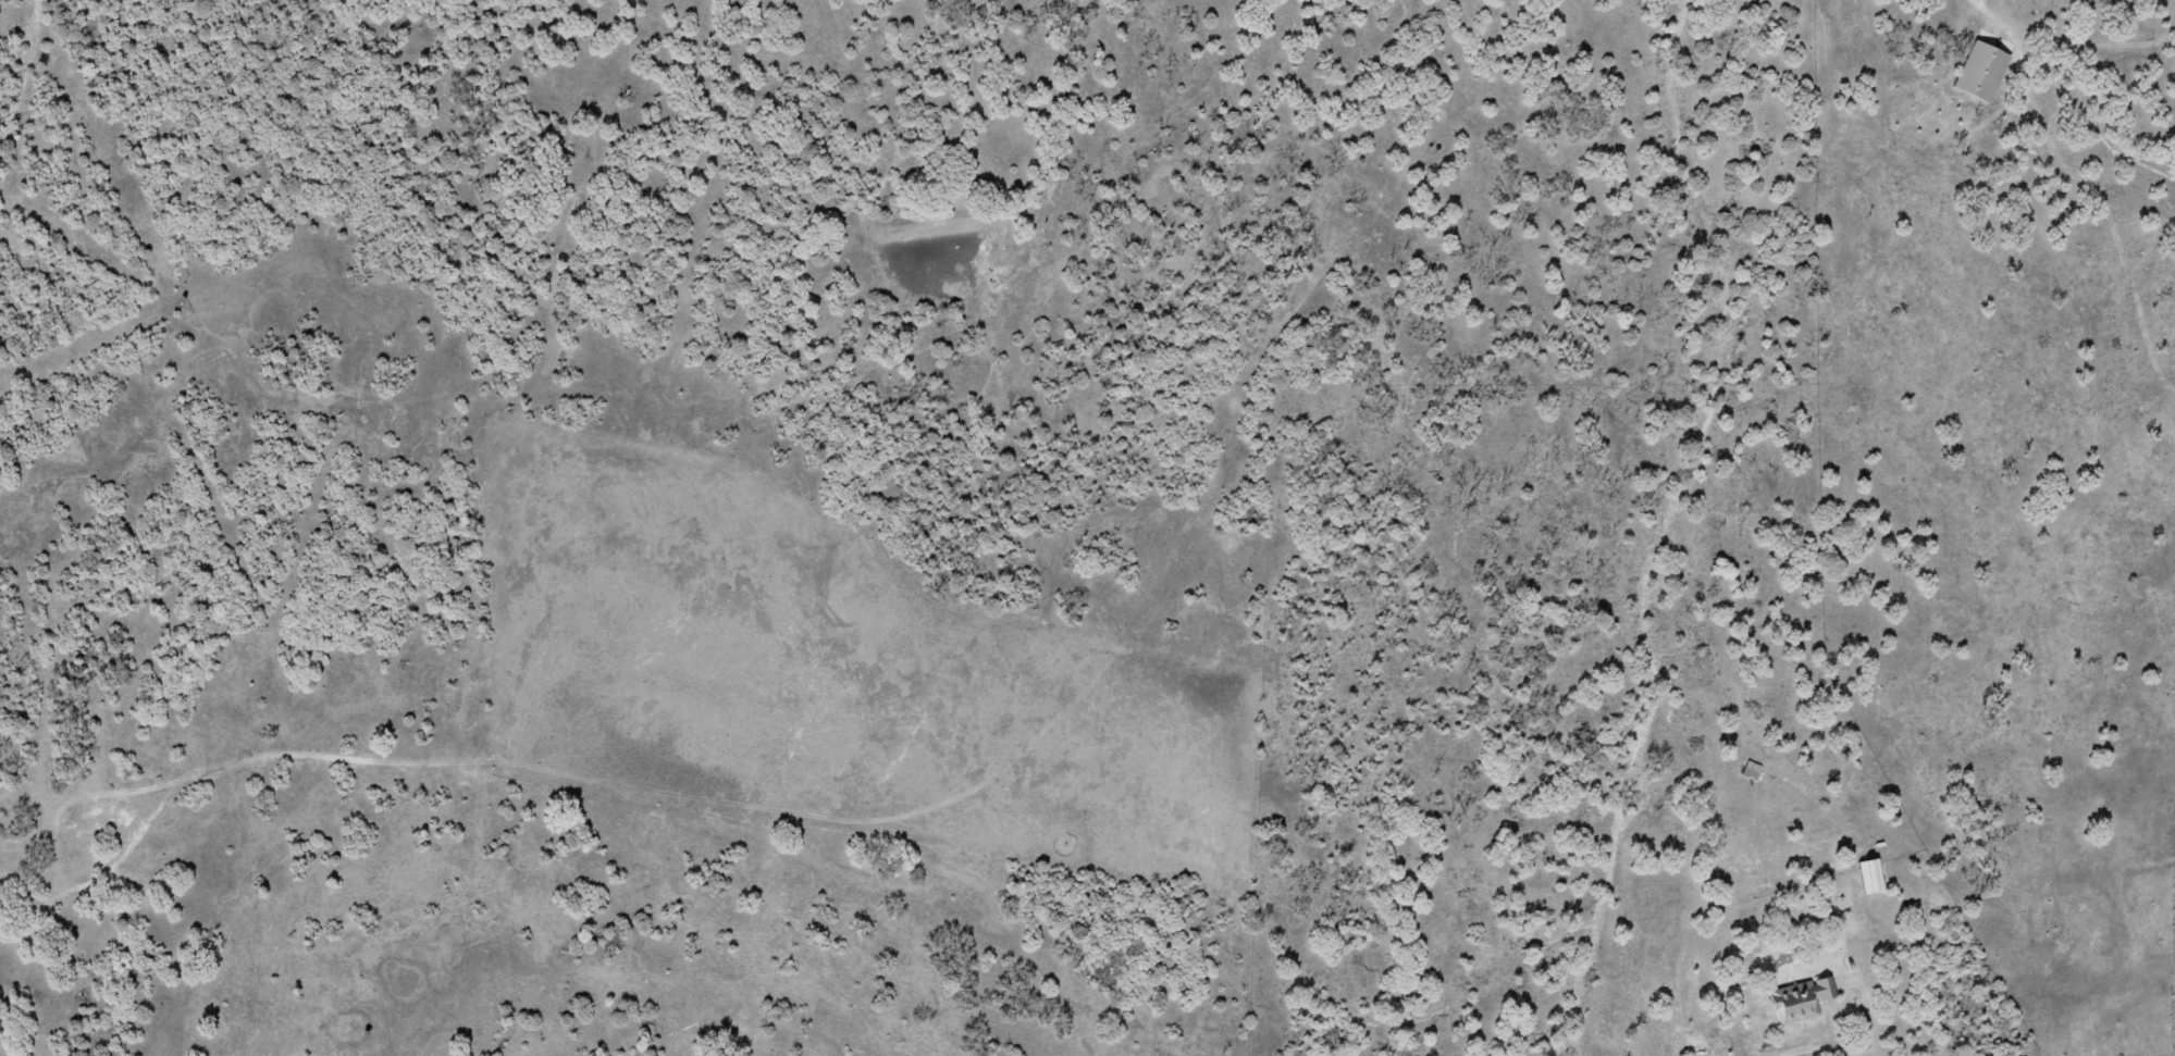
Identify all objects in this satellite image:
building: (1801, 1002)
road: (1854, 1053)

